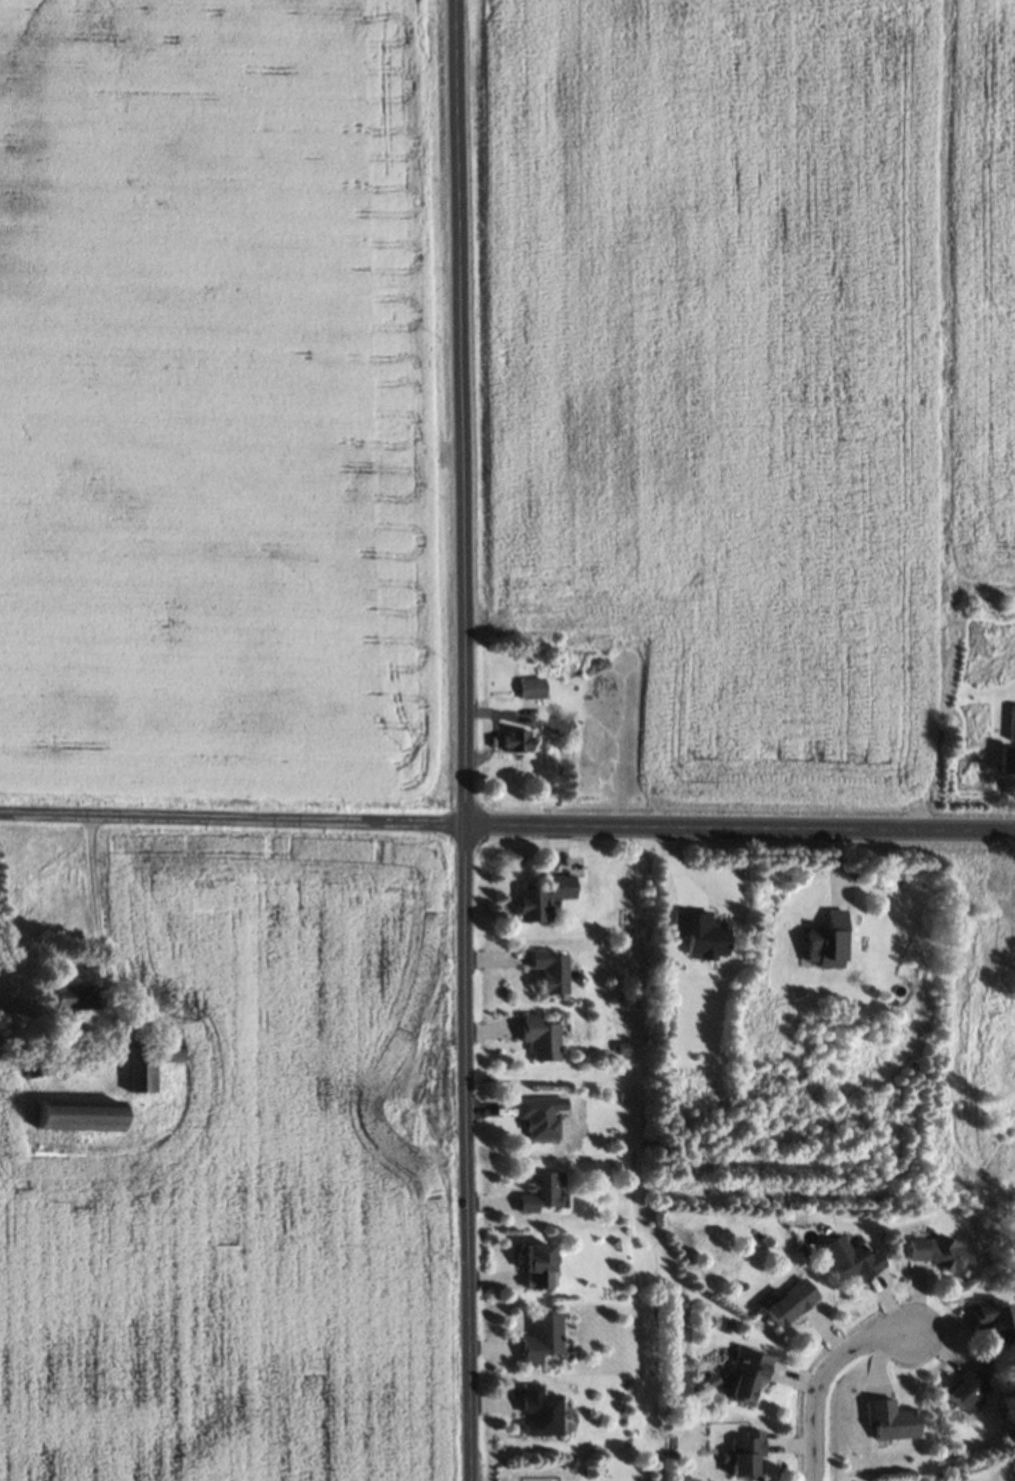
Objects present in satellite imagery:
crop: (222, 403)
building: (533, 688)
road: (466, 740)
building: (517, 741)
building: (1008, 751)
road: (507, 824)
road: (95, 891)
building: (544, 898)
building: (674, 933)
building: (828, 941)
building: (553, 970)
building: (73, 1001)
building: (542, 1038)
building: (150, 1064)
building: (79, 1114)
building: (538, 1117)
building: (543, 1192)
building: (941, 1255)
building: (852, 1260)
building: (538, 1266)
building: (791, 1303)
building: (995, 1321)
building: (541, 1339)
road: (826, 1373)
building: (749, 1375)
building: (969, 1389)
building: (540, 1413)
building: (891, 1419)
building: (746, 1454)

